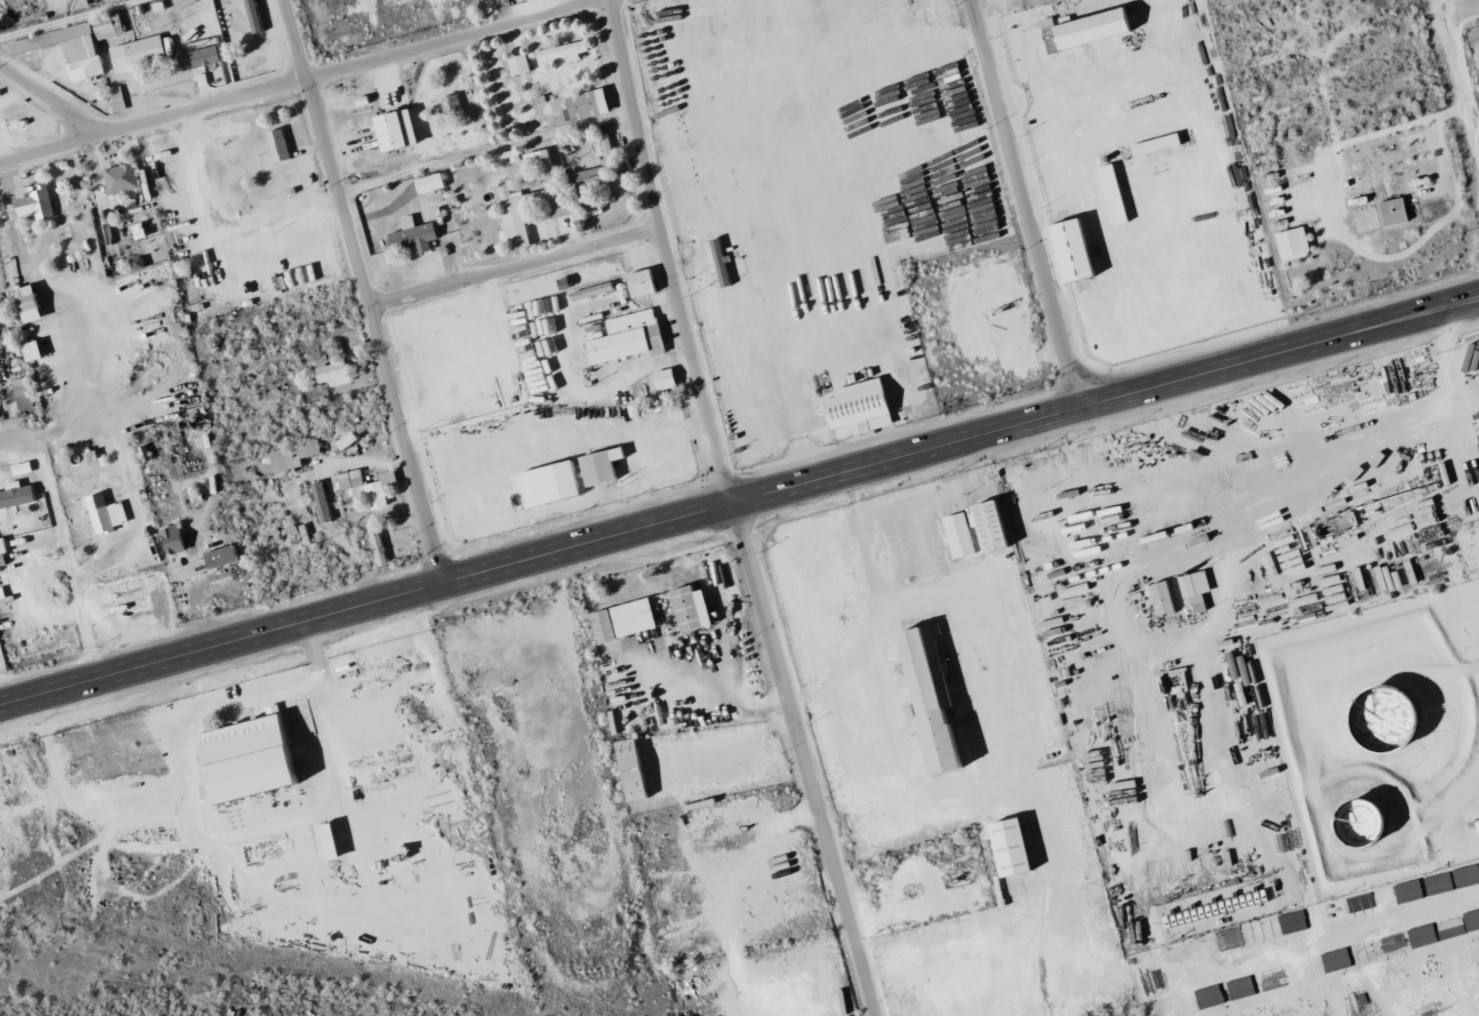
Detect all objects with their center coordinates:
road: (1466, 10)
building: (106, 28)
building: (1087, 29)
building: (70, 49)
building: (567, 52)
building: (140, 54)
building: (207, 56)
road: (1464, 57)
building: (1476, 58)
building: (521, 65)
building: (202, 80)
road: (296, 81)
road: (56, 97)
building: (118, 99)
building: (452, 104)
building: (590, 105)
building: (402, 131)
building: (1153, 144)
building: (281, 146)
building: (508, 158)
building: (539, 159)
building: (610, 160)
building: (123, 178)
building: (432, 183)
building: (38, 204)
road: (1025, 205)
building: (562, 210)
building: (1390, 211)
building: (523, 215)
building: (416, 236)
building: (1288, 243)
building: (1067, 250)
building: (723, 263)
road: (514, 266)
building: (645, 283)
road: (364, 292)
building: (32, 304)
building: (630, 338)
building: (35, 351)
road: (628, 373)
building: (336, 374)
building: (665, 389)
building: (26, 393)
building: (853, 408)
road: (11, 439)
building: (350, 441)
building: (295, 456)
building: (604, 467)
building: (23, 468)
building: (554, 484)
building: (369, 487)
building: (17, 495)
road: (916, 495)
building: (324, 503)
road: (739, 504)
road: (736, 510)
building: (110, 518)
building: (982, 526)
building: (954, 535)
building: (175, 539)
building: (3, 551)
building: (223, 557)
building: (1191, 589)
building: (1158, 597)
building: (685, 608)
building: (618, 620)
building: (919, 693)
building: (255, 759)
building: (625, 770)
building: (1476, 826)
building: (334, 842)
building: (1003, 847)
building: (1214, 859)

